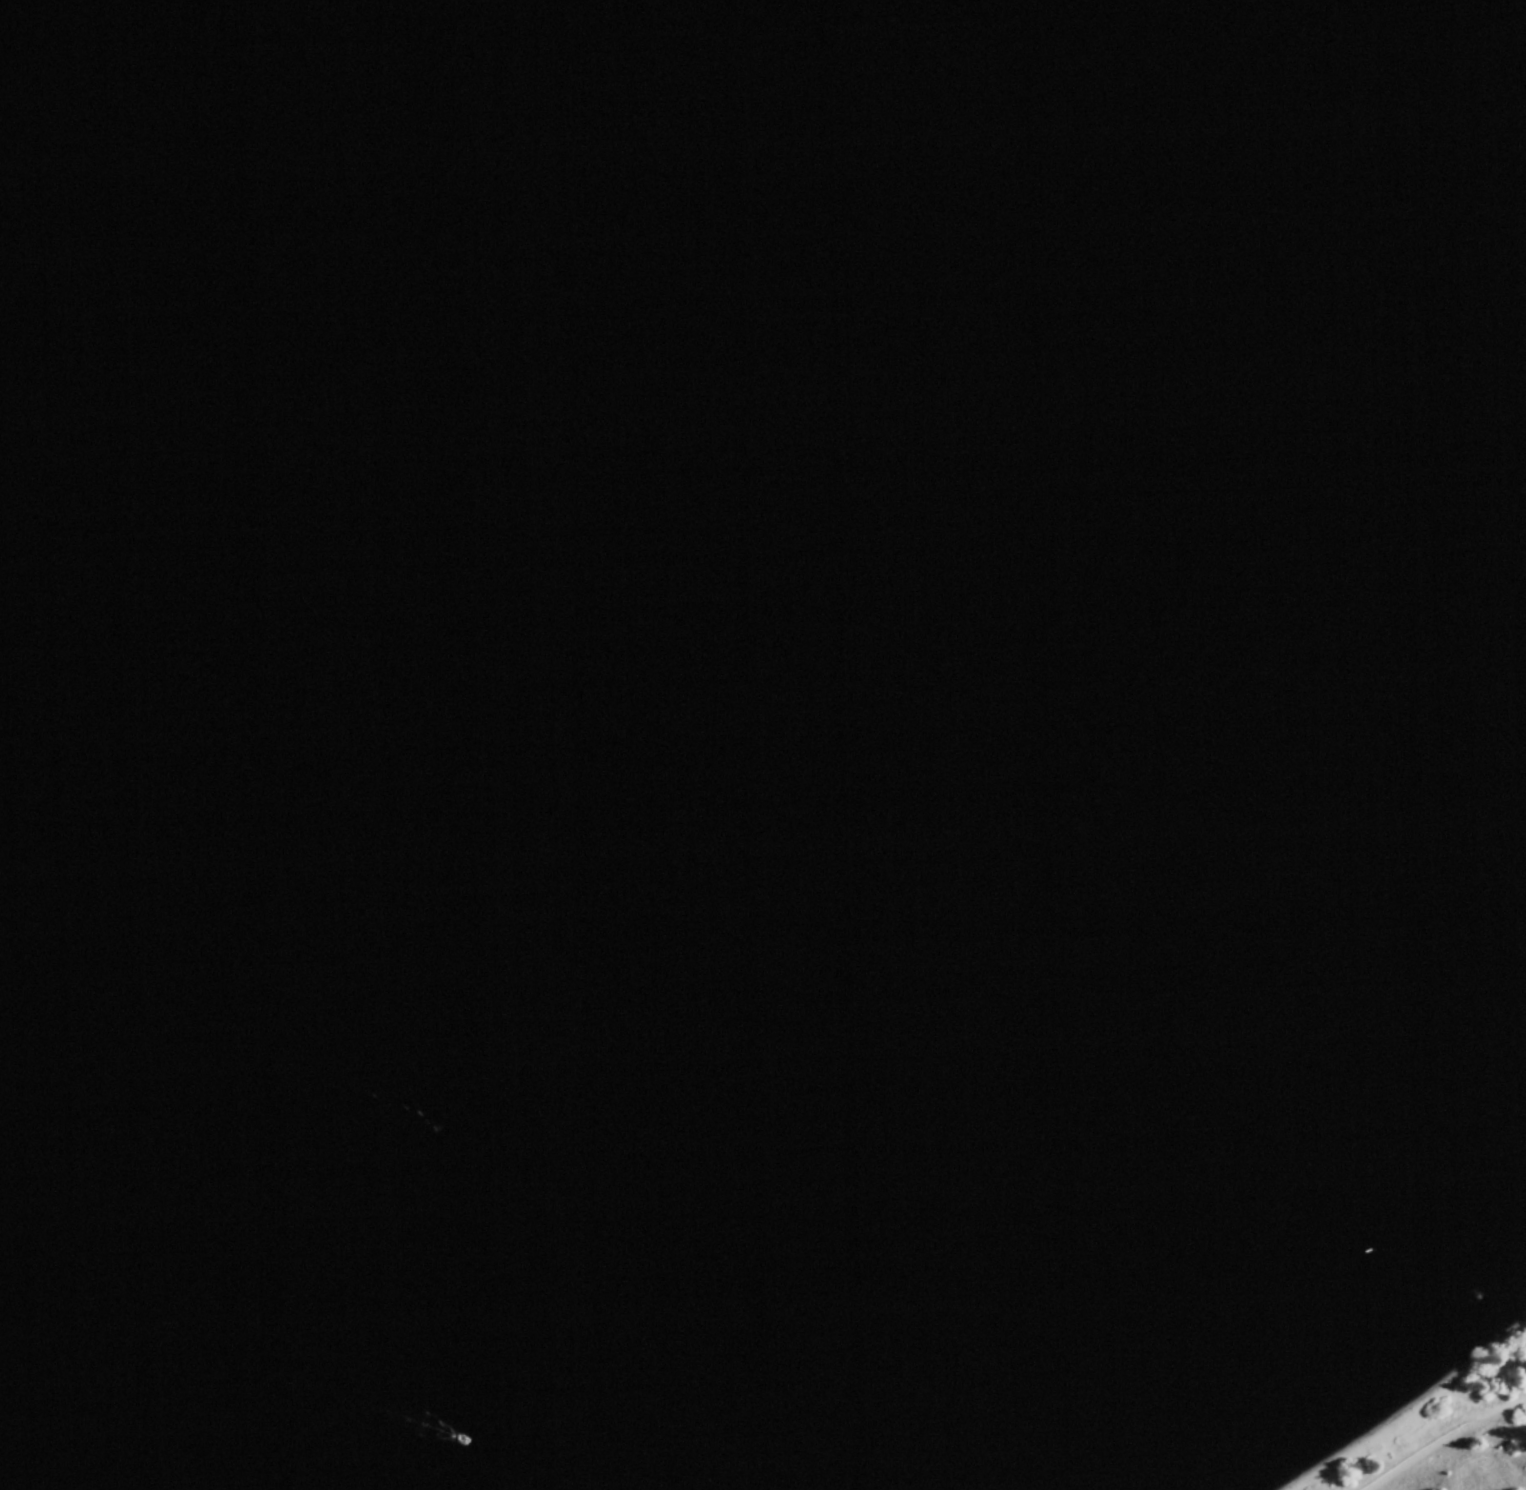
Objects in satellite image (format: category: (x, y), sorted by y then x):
road: (1446, 1441)

